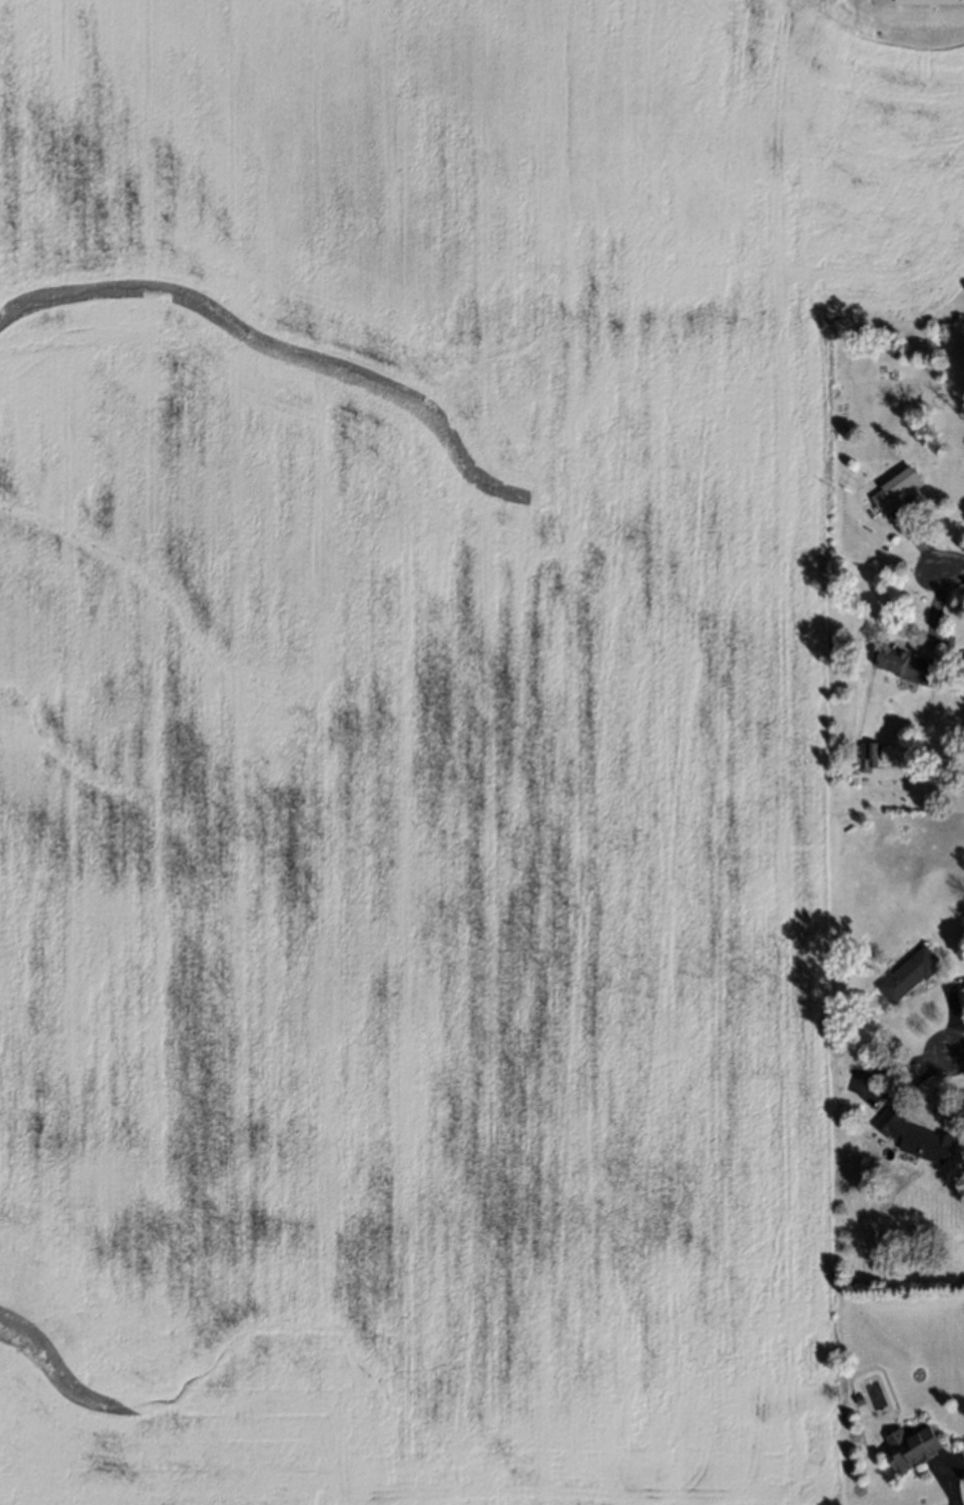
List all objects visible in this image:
building: (927, 1)
building: (893, 492)
road: (947, 568)
building: (901, 667)
building: (869, 754)
building: (907, 976)
road: (953, 1052)
building: (911, 1140)
building: (855, 1398)
building: (907, 1446)

